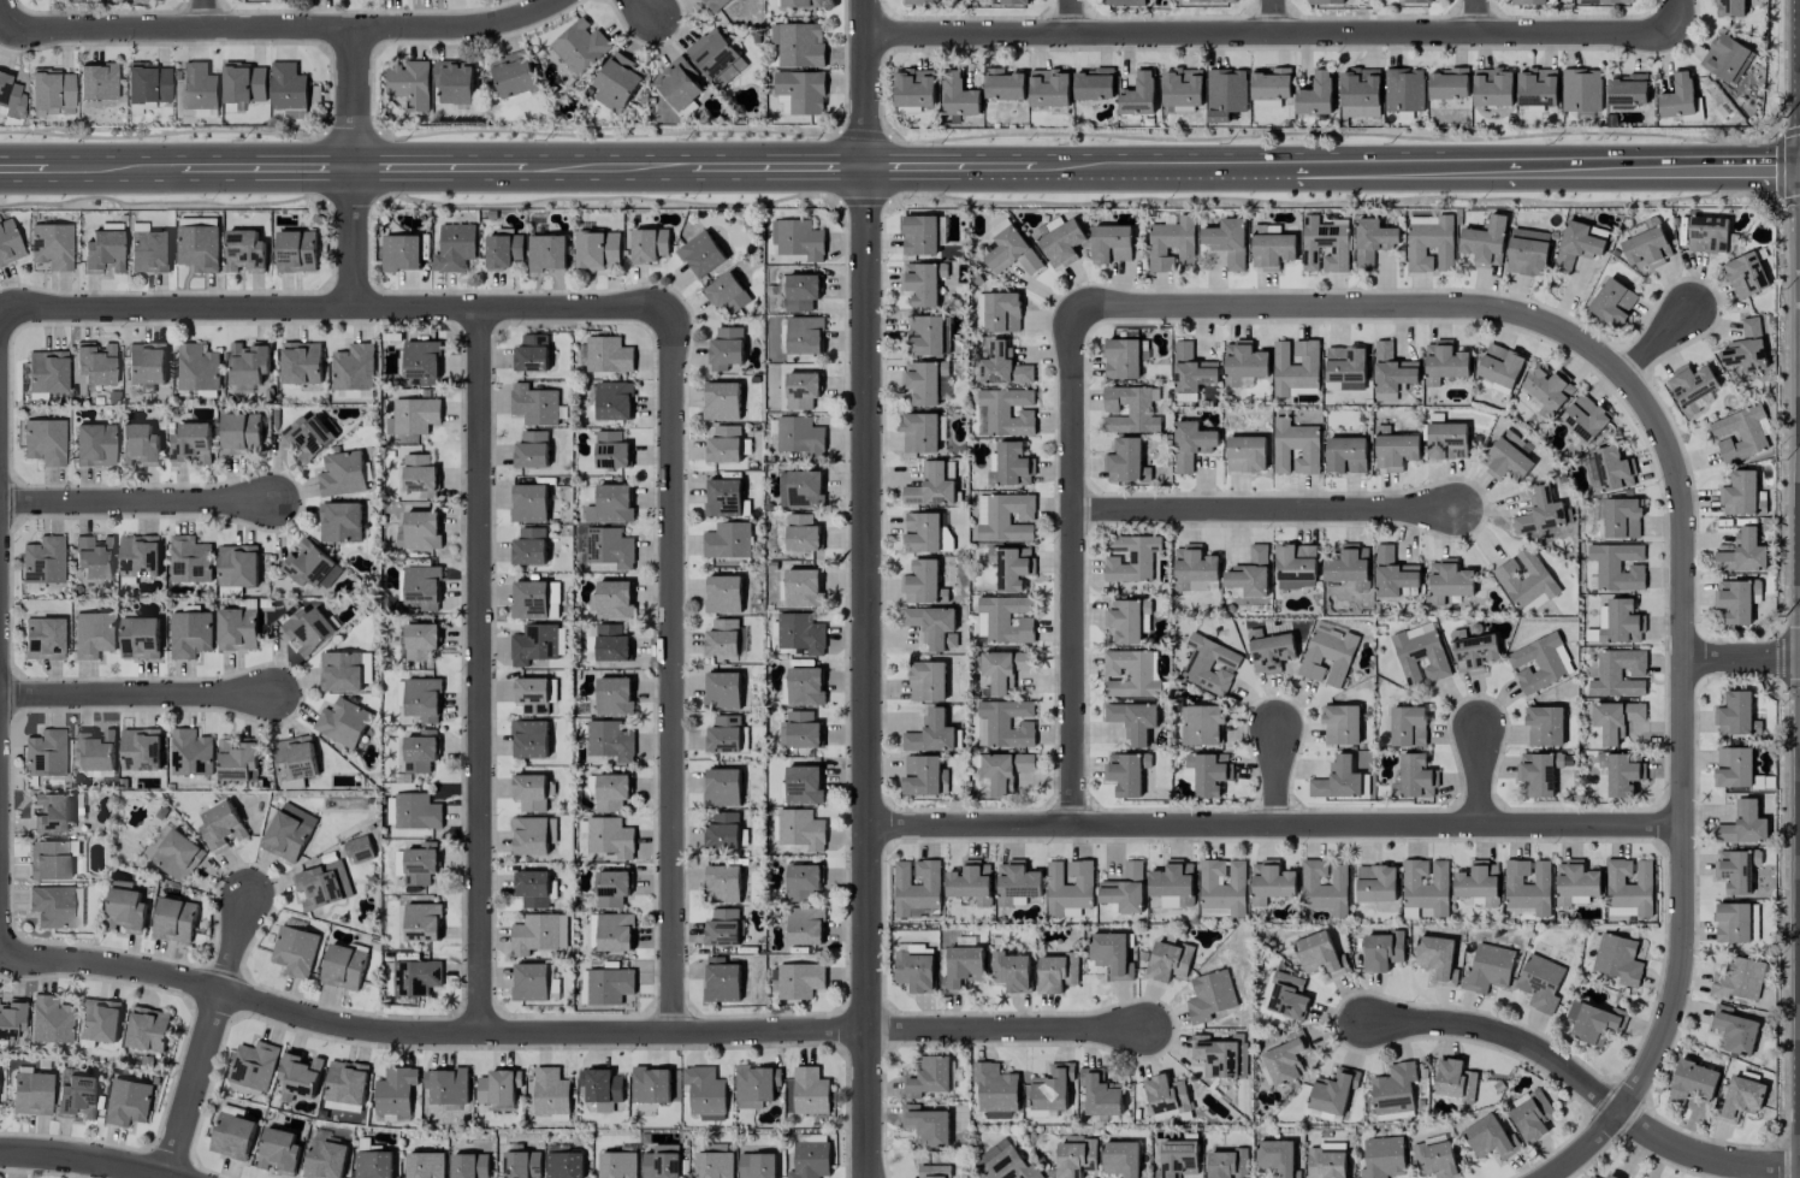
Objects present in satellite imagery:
building: (155, 0)
building: (920, 1)
building: (1012, 1)
building: (1210, 1)
building: (1325, 1)
building: (1420, 1)
building: (1616, 1)
building: (1124, 2)
building: (1528, 2)
building: (800, 4)
building: (715, 5)
building: (1729, 7)
road: (645, 8)
road: (1, 13)
road: (206, 13)
road: (1676, 16)
road: (1071, 17)
road: (1274, 17)
road: (1478, 17)
road: (284, 28)
road: (1272, 34)
building: (800, 45)
building: (580, 46)
building: (716, 57)
building: (1727, 58)
building: (514, 75)
building: (97, 82)
building: (455, 82)
building: (148, 83)
building: (244, 83)
building: (617, 83)
building: (679, 83)
building: (1449, 83)
building: (409, 84)
building: (1003, 84)
building: (1094, 84)
building: (200, 87)
road: (866, 87)
building: (1272, 87)
building: (1493, 87)
building: (1538, 87)
building: (914, 88)
building: (1049, 88)
building: (1183, 88)
building: (289, 90)
building: (1404, 90)
building: (1581, 90)
building: (1628, 90)
building: (51, 91)
building: (801, 91)
building: (1360, 93)
building: (1226, 94)
building: (1138, 95)
building: (1316, 95)
building: (10, 96)
building: (960, 96)
building: (1680, 96)
road: (354, 168)
road: (1524, 172)
road: (24, 173)
road: (146, 173)
road: (1106, 173)
road: (297, 174)
road: (403, 174)
road: (609, 174)
road: (816, 174)
road: (914, 174)
building: (1422, 220)
building: (920, 235)
building: (1707, 235)
building: (798, 238)
building: (1059, 241)
building: (1372, 241)
building: (1227, 242)
building: (1485, 242)
building: (8, 243)
building: (1111, 243)
building: (1172, 244)
building: (1579, 244)
building: (52, 245)
building: (649, 245)
building: (1324, 245)
building: (1431, 245)
building: (1647, 245)
building: (199, 247)
building: (455, 248)
building: (1271, 248)
building: (504, 250)
building: (597, 250)
building: (103, 251)
building: (149, 251)
building: (244, 251)
building: (296, 251)
building: (1012, 251)
building: (1527, 251)
building: (401, 253)
building: (546, 253)
building: (701, 254)
building: (1746, 274)
building: (922, 283)
building: (801, 291)
building: (727, 294)
building: (1612, 302)
road: (336, 308)
building: (1002, 312)
building: (929, 335)
building: (805, 336)
road: (1654, 342)
building: (726, 348)
building: (1746, 348)
building: (532, 354)
building: (608, 355)
building: (1121, 359)
building: (422, 361)
building: (1243, 362)
building: (1444, 362)
building: (95, 363)
building: (147, 363)
building: (249, 363)
building: (301, 363)
building: (1003, 366)
building: (1295, 366)
building: (1500, 366)
building: (1346, 367)
building: (197, 368)
building: (354, 368)
building: (1392, 369)
building: (47, 371)
building: (1191, 373)
building: (925, 381)
building: (1693, 389)
building: (801, 391)
building: (1547, 391)
building: (1385, 397)
building: (614, 401)
building: (722, 401)
building: (534, 404)
building: (1129, 410)
building: (1008, 412)
building: (415, 415)
building: (1585, 418)
building: (241, 433)
building: (919, 433)
building: (1740, 433)
building: (308, 437)
building: (800, 437)
building: (1446, 440)
building: (45, 442)
building: (94, 444)
building: (138, 444)
building: (191, 444)
building: (724, 444)
building: (1190, 444)
building: (1295, 448)
building: (532, 450)
building: (611, 450)
building: (1396, 451)
building: (1245, 454)
building: (1346, 455)
building: (1508, 457)
building: (1124, 461)
road: (1671, 462)
building: (1009, 466)
building: (1610, 470)
building: (342, 474)
building: (420, 475)
building: (930, 486)
building: (801, 489)
building: (723, 498)
building: (529, 503)
road: (136, 504)
building: (611, 504)
building: (982, 509)
road: (1268, 510)
building: (1540, 513)
building: (1007, 517)
building: (1622, 519)
building: (341, 522)
building: (420, 531)
building: (922, 532)
building: (803, 533)
building: (728, 540)
building: (529, 546)
building: (610, 547)
building: (1742, 552)
building: (95, 556)
building: (140, 556)
building: (1131, 558)
building: (190, 560)
building: (42, 562)
building: (310, 564)
building: (238, 566)
road: (1076, 566)
building: (1012, 567)
building: (1296, 567)
building: (1617, 567)
building: (1195, 568)
building: (1349, 569)
building: (1250, 574)
building: (1395, 574)
building: (1524, 579)
building: (1449, 581)
building: (922, 582)
building: (422, 587)
building: (800, 587)
building: (723, 594)
building: (529, 599)
building: (1736, 599)
building: (612, 600)
building: (1007, 618)
building: (1620, 621)
building: (1126, 622)
building: (931, 624)
building: (237, 629)
building: (308, 629)
building: (93, 634)
building: (190, 634)
building: (801, 634)
building: (43, 638)
building: (140, 638)
building: (722, 638)
building: (421, 641)
building: (606, 643)
building: (538, 644)
building: (1269, 651)
building: (1473, 652)
building: (1420, 655)
building: (1327, 657)
road: (1741, 659)
building: (1538, 663)
building: (1209, 665)
road: (673, 669)
building: (1005, 669)
road: (479, 670)
building: (341, 671)
building: (1130, 674)
building: (1618, 674)
road: (865, 675)
building: (928, 681)
building: (805, 686)
building: (722, 691)
road: (135, 694)
building: (535, 694)
building: (614, 695)
building: (422, 699)
building: (1735, 714)
building: (1616, 720)
building: (1133, 721)
building: (343, 722)
building: (1005, 723)
building: (1202, 724)
building: (1340, 724)
building: (1409, 726)
building: (1545, 726)
building: (803, 730)
building: (931, 734)
building: (726, 735)
building: (531, 739)
building: (610, 740)
building: (95, 750)
building: (141, 750)
building: (420, 751)
building: (45, 752)
building: (191, 753)
building: (295, 758)
building: (237, 759)
building: (1734, 766)
building: (1005, 771)
building: (1126, 772)
building: (1209, 772)
building: (1539, 772)
building: (1622, 772)
building: (924, 776)
road: (1480, 776)
road: (1277, 777)
building: (1415, 777)
building: (1337, 780)
building: (804, 785)
building: (722, 787)
building: (529, 792)
building: (612, 792)
building: (416, 811)
building: (53, 812)
road: (1273, 824)
building: (1743, 824)
building: (221, 827)
building: (800, 829)
building: (722, 830)
building: (288, 833)
building: (533, 835)
building: (610, 837)
building: (357, 850)
building: (177, 856)
building: (49, 859)
building: (416, 864)
building: (1736, 870)
building: (803, 882)
building: (971, 882)
building: (1271, 882)
building: (1476, 882)
building: (723, 883)
building: (1017, 883)
building: (1376, 883)
building: (1575, 883)
building: (322, 884)
building: (1224, 886)
building: (1325, 886)
building: (1427, 886)
building: (1528, 886)
building: (1068, 887)
building: (1629, 887)
building: (532, 888)
building: (917, 888)
building: (611, 889)
building: (1125, 889)
building: (53, 906)
building: (125, 911)
building: (174, 921)
building: (422, 922)
building: (1736, 923)
building: (805, 925)
building: (722, 928)
building: (610, 933)
building: (539, 934)
building: (295, 951)
building: (1382, 951)
building: (1111, 954)
building: (1319, 954)
building: (1437, 959)
building: (1618, 959)
building: (1168, 960)
building: (344, 966)
building: (963, 967)
building: (1490, 967)
building: (916, 969)
building: (1011, 971)
building: (1056, 972)
building: (416, 977)
building: (1741, 978)
building: (721, 981)
building: (800, 981)
building: (1540, 982)
building: (609, 985)
building: (1210, 996)
building: (1287, 996)
building: (11, 1019)
building: (51, 1019)
building: (100, 1020)
building: (1594, 1022)
building: (147, 1029)
building: (1735, 1030)
road: (569, 1031)
road: (208, 1037)
building: (1216, 1055)
building: (1286, 1059)
building: (254, 1065)
building: (300, 1075)
building: (928, 1077)
building: (1455, 1079)
building: (347, 1082)
building: (1692, 1082)
building: (602, 1084)
building: (448, 1085)
building: (651, 1085)
building: (756, 1085)
building: (499, 1087)
road: (1586, 1087)
building: (1052, 1088)
building: (1395, 1089)
building: (396, 1090)
building: (705, 1090)
building: (995, 1090)
building: (1334, 1090)
building: (551, 1091)
building: (810, 1091)
building: (31, 1093)
building: (1100, 1093)
building: (1166, 1096)
building: (77, 1097)
building: (1742, 1097)
building: (128, 1102)
building: (343, 1107)
building: (1530, 1114)
building: (928, 1126)
building: (232, 1136)
building: (1491, 1138)
building: (367, 1146)
road: (1585, 1148)
building: (278, 1150)
building: (990, 1152)
building: (1382, 1156)
road: (79, 1158)
building: (1277, 1158)
building: (1434, 1158)
building: (325, 1159)
building: (1074, 1159)
building: (1121, 1159)
building: (1178, 1159)
building: (715, 1160)
building: (810, 1160)
building: (1326, 1160)
building: (662, 1162)
building: (1227, 1164)
building: (374, 1165)
building: (426, 1165)
building: (469, 1165)
building: (522, 1165)
building: (564, 1165)
building: (617, 1165)
building: (757, 1165)
building: (1009, 1166)
building: (928, 1172)
building: (1592, 1177)
building: (1610, 1177)

